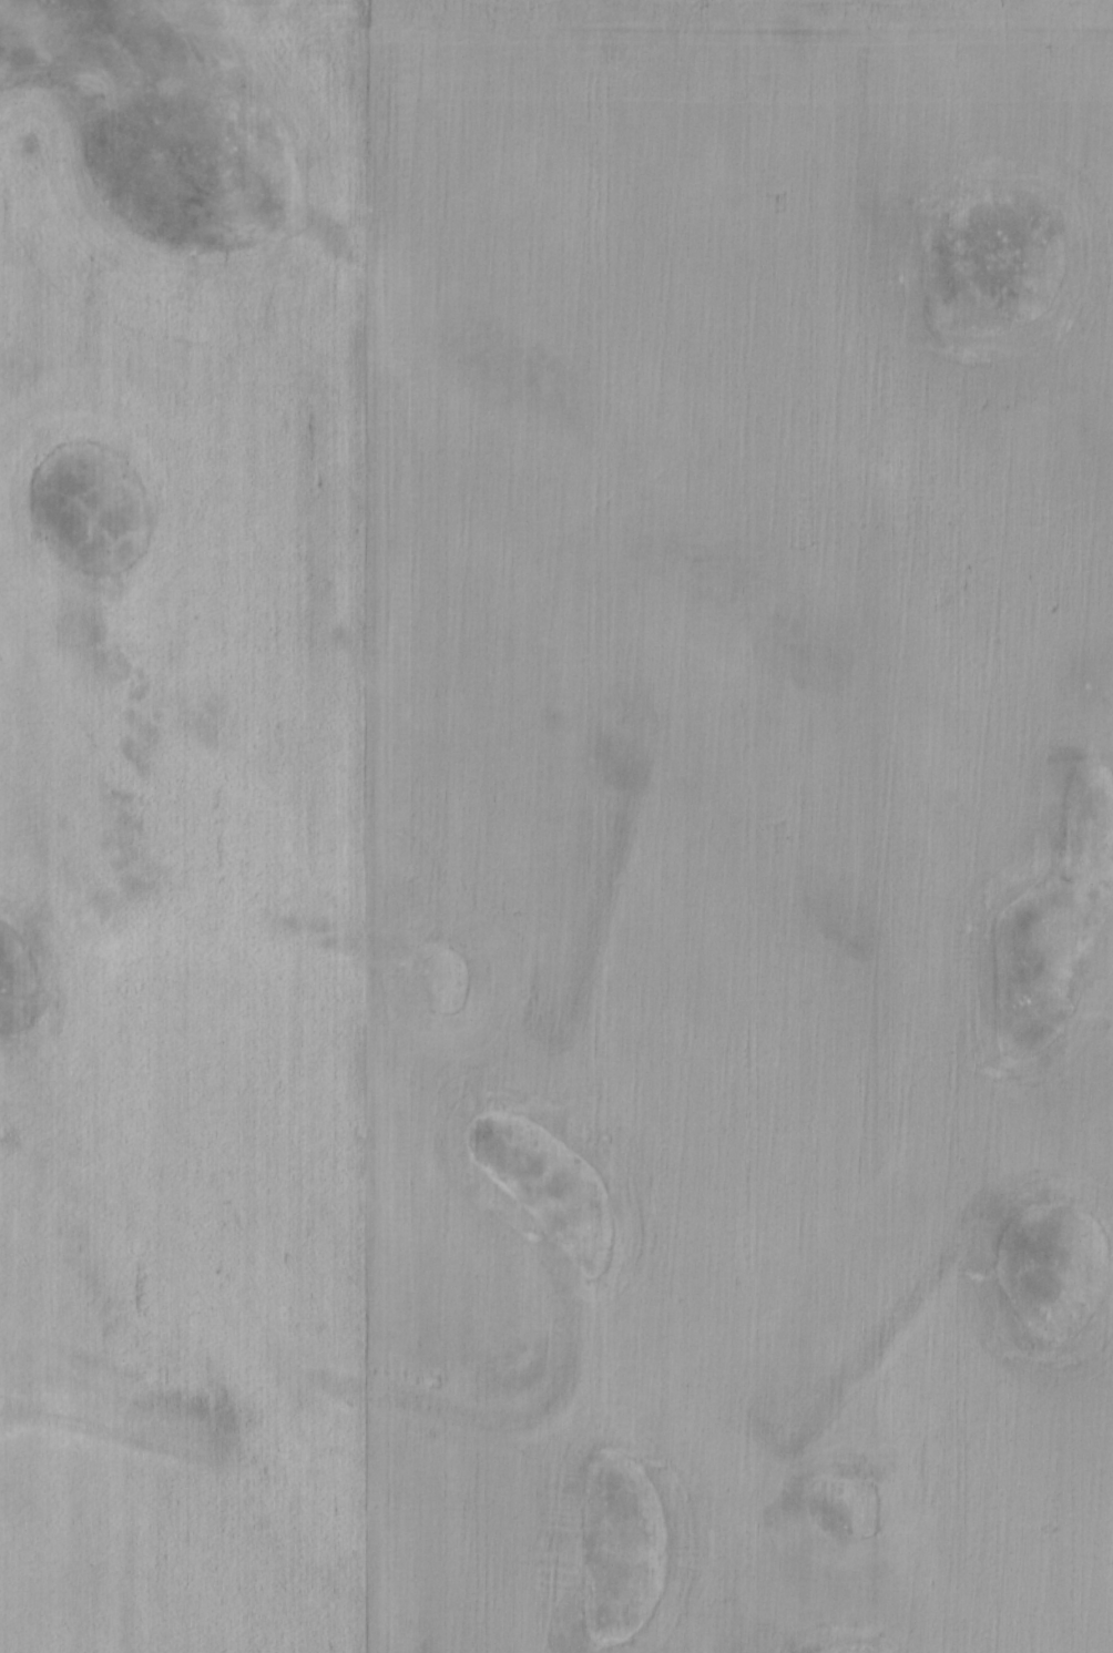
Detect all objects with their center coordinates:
crop: (568, 846)

